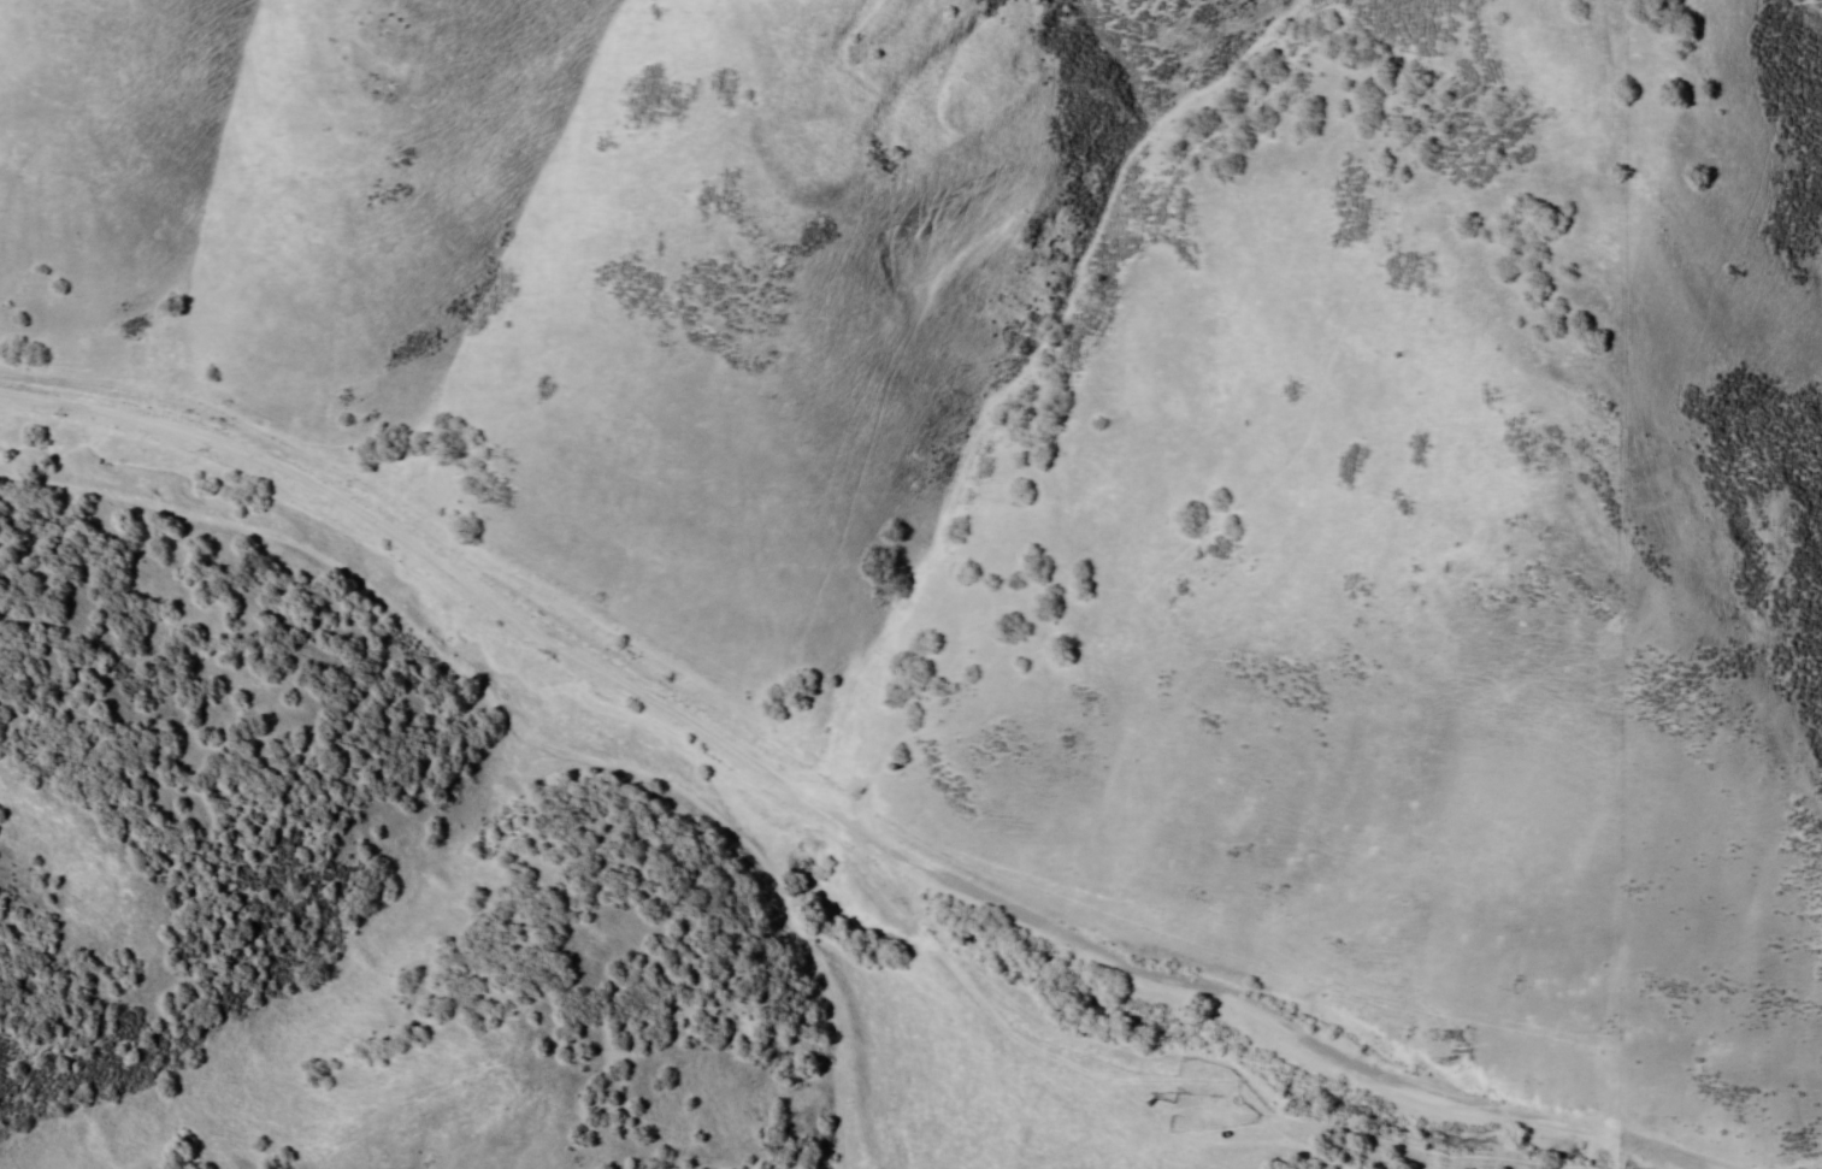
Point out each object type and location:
road: (838, 820)

